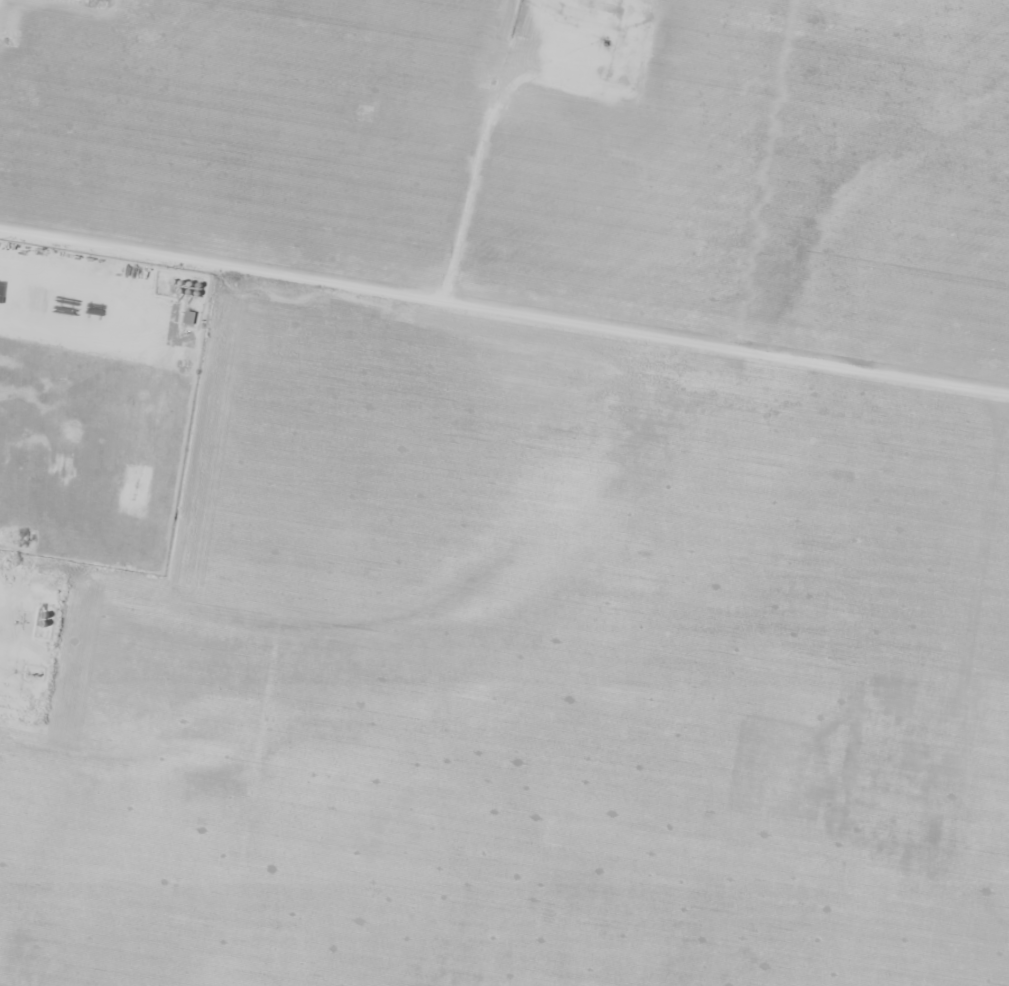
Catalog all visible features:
road: (504, 310)
building: (189, 318)

